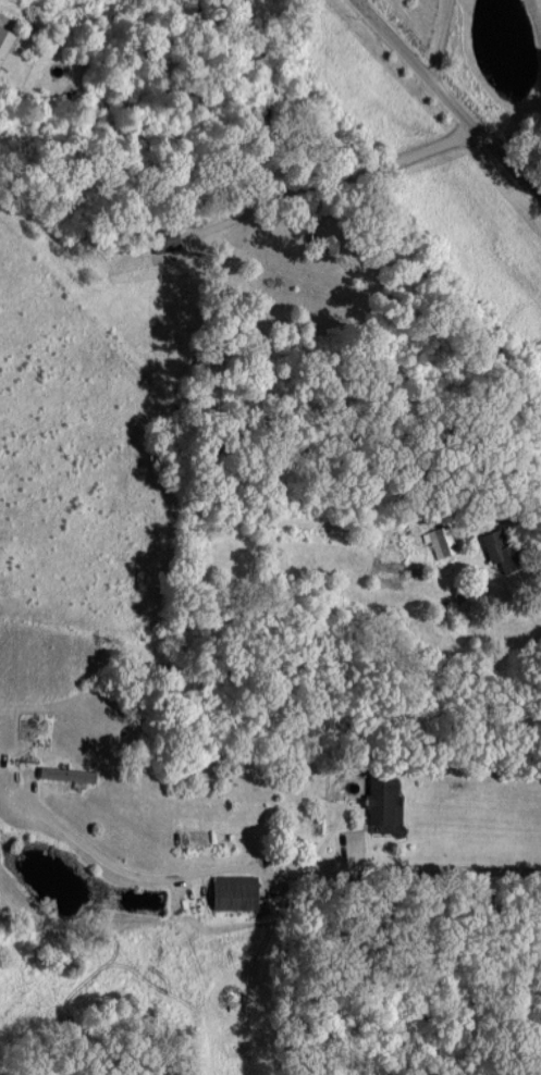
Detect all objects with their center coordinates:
road: (440, 39)
building: (7, 47)
road: (450, 97)
road: (512, 520)
building: (441, 541)
building: (496, 544)
building: (69, 773)
building: (382, 799)
road: (270, 865)
building: (236, 891)

